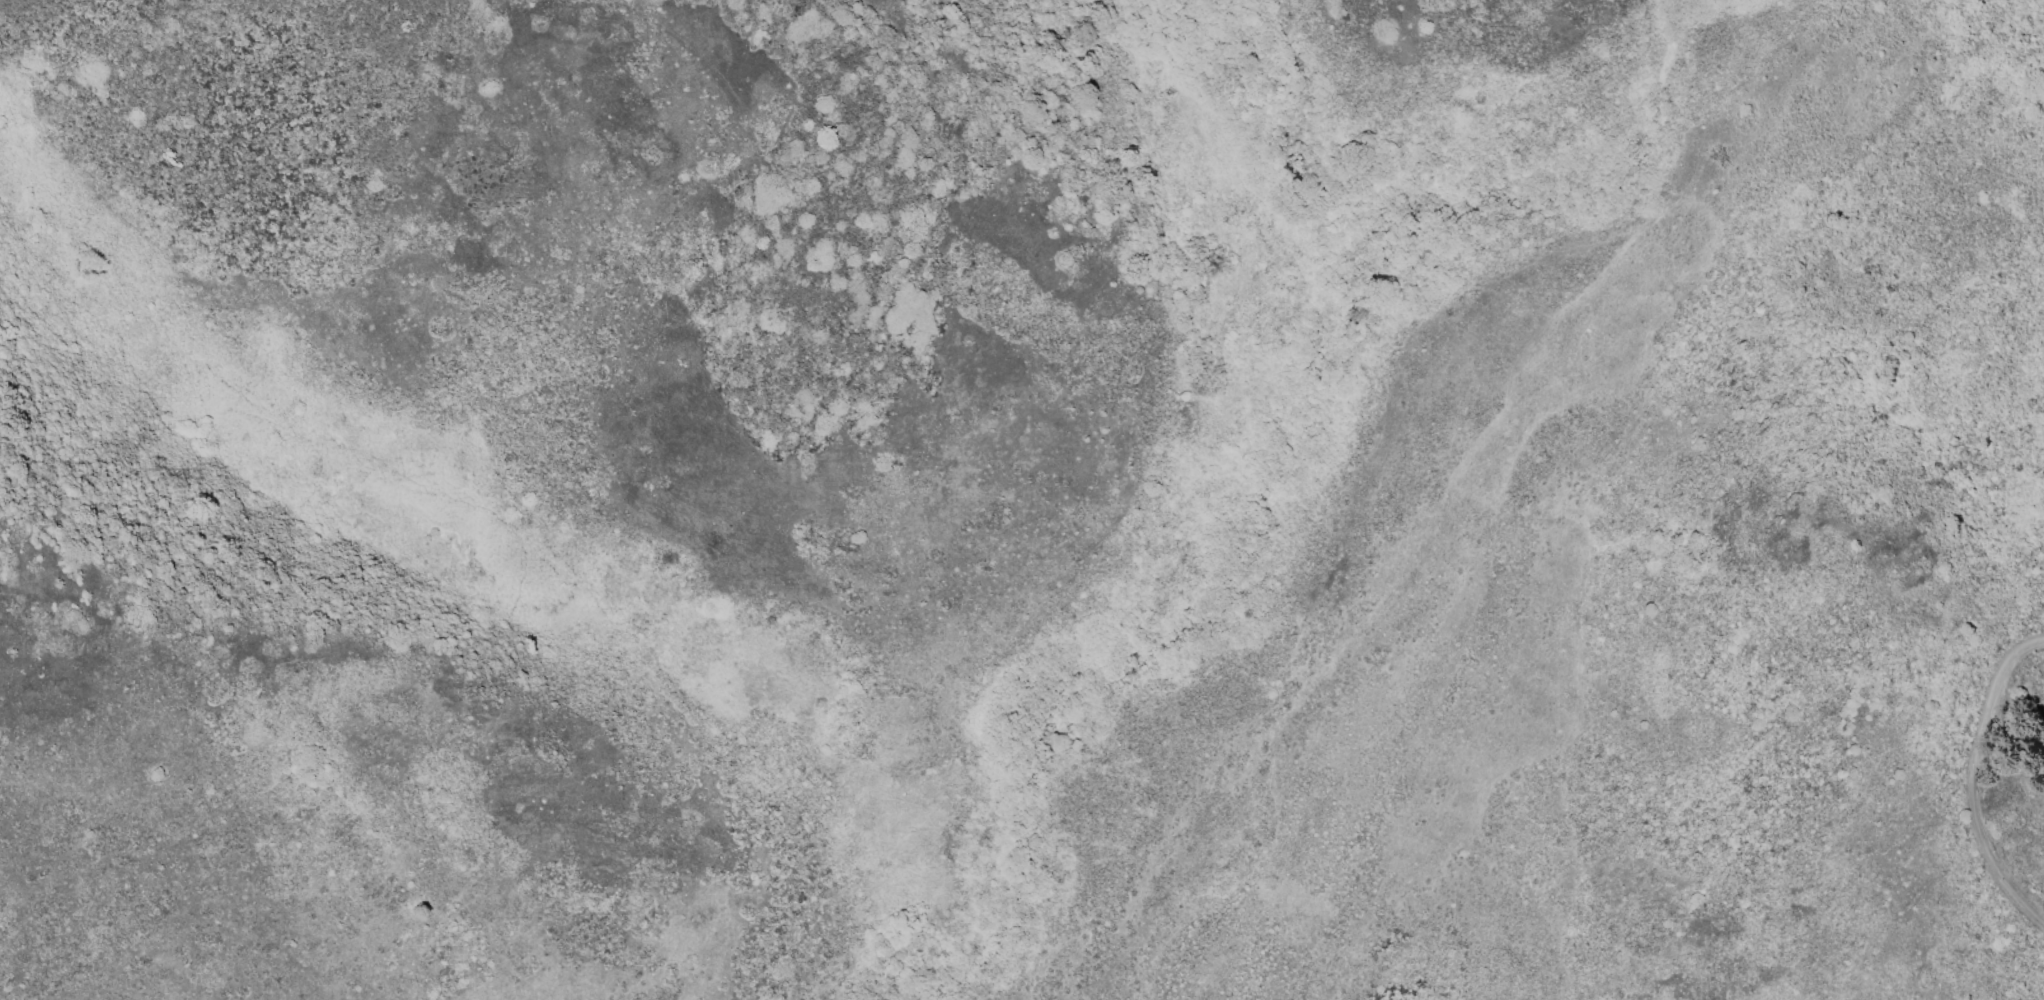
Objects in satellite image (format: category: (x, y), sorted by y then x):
road: (1972, 779)

